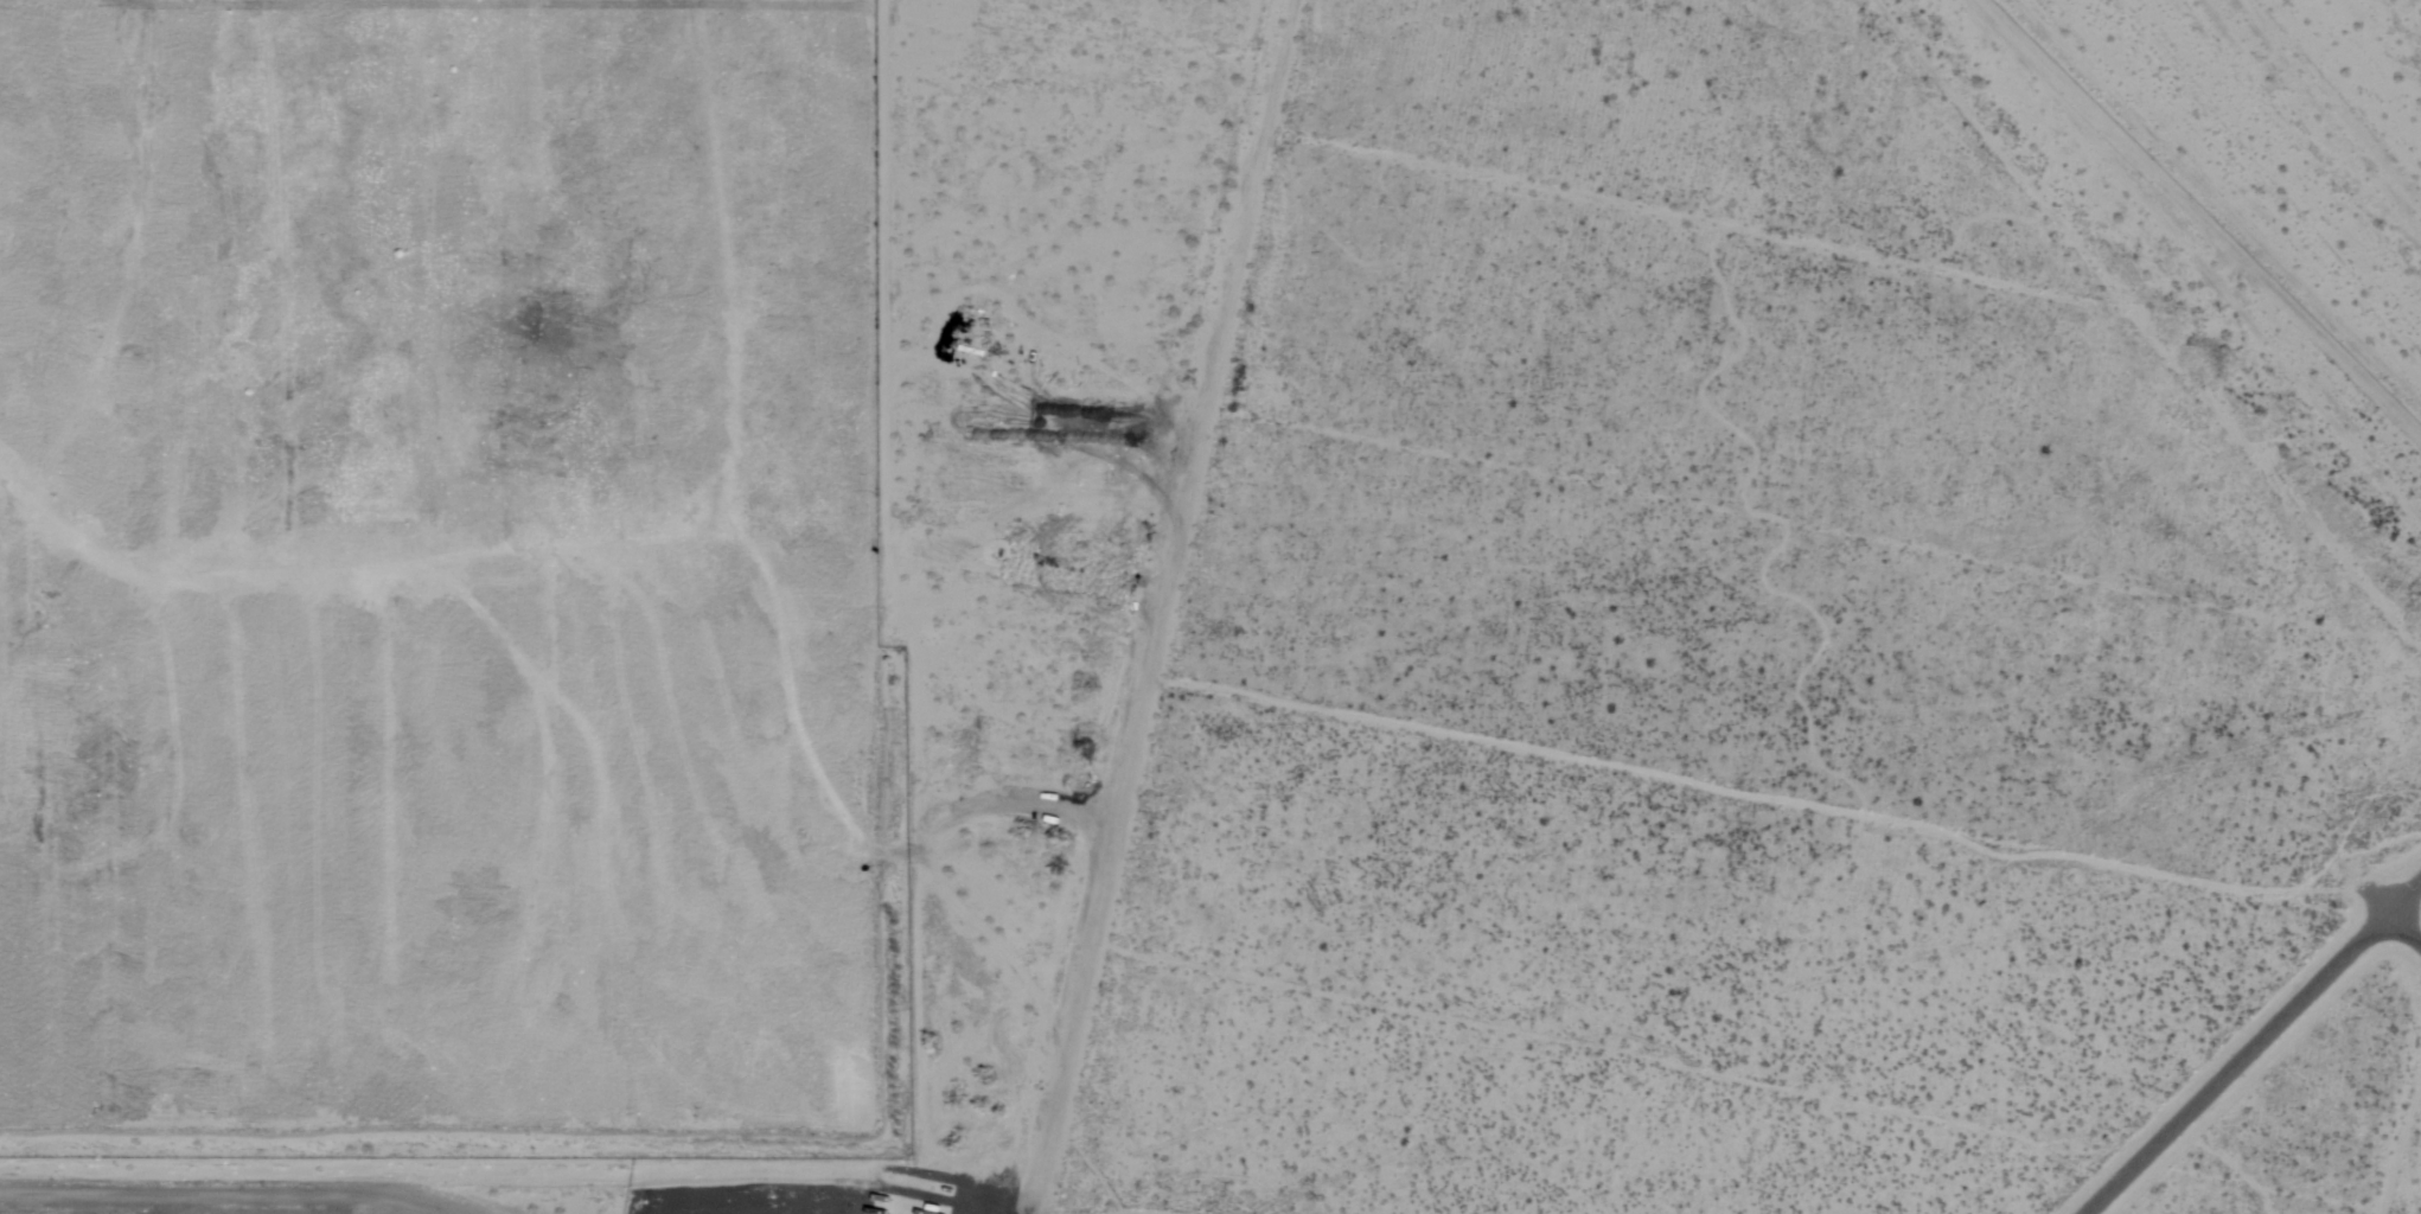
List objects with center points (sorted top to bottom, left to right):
road: (2393, 896)
road: (2394, 908)
road: (2385, 909)
road: (2408, 912)
road: (2374, 914)
road: (2248, 1053)

